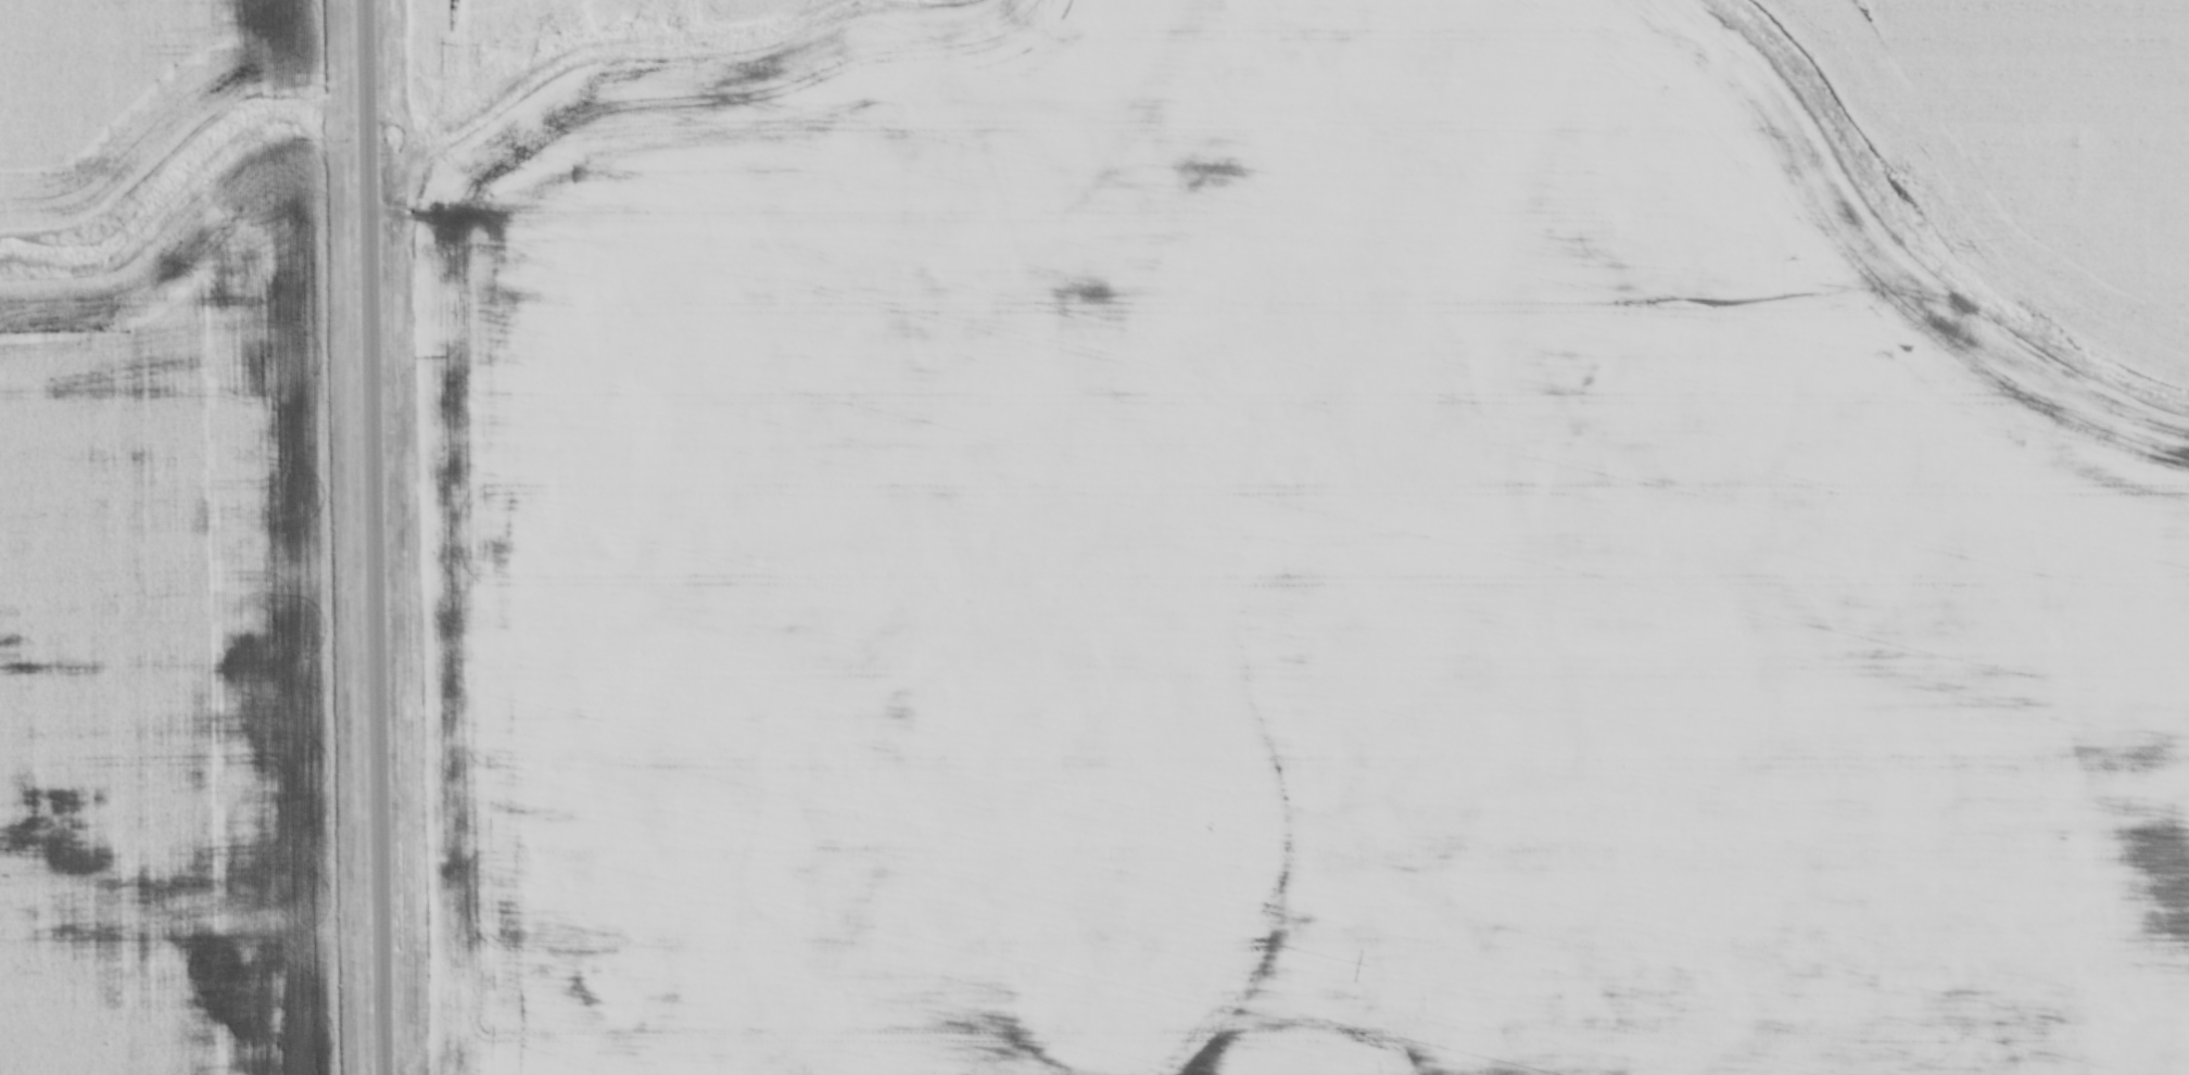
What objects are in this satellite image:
road: (371, 537)

